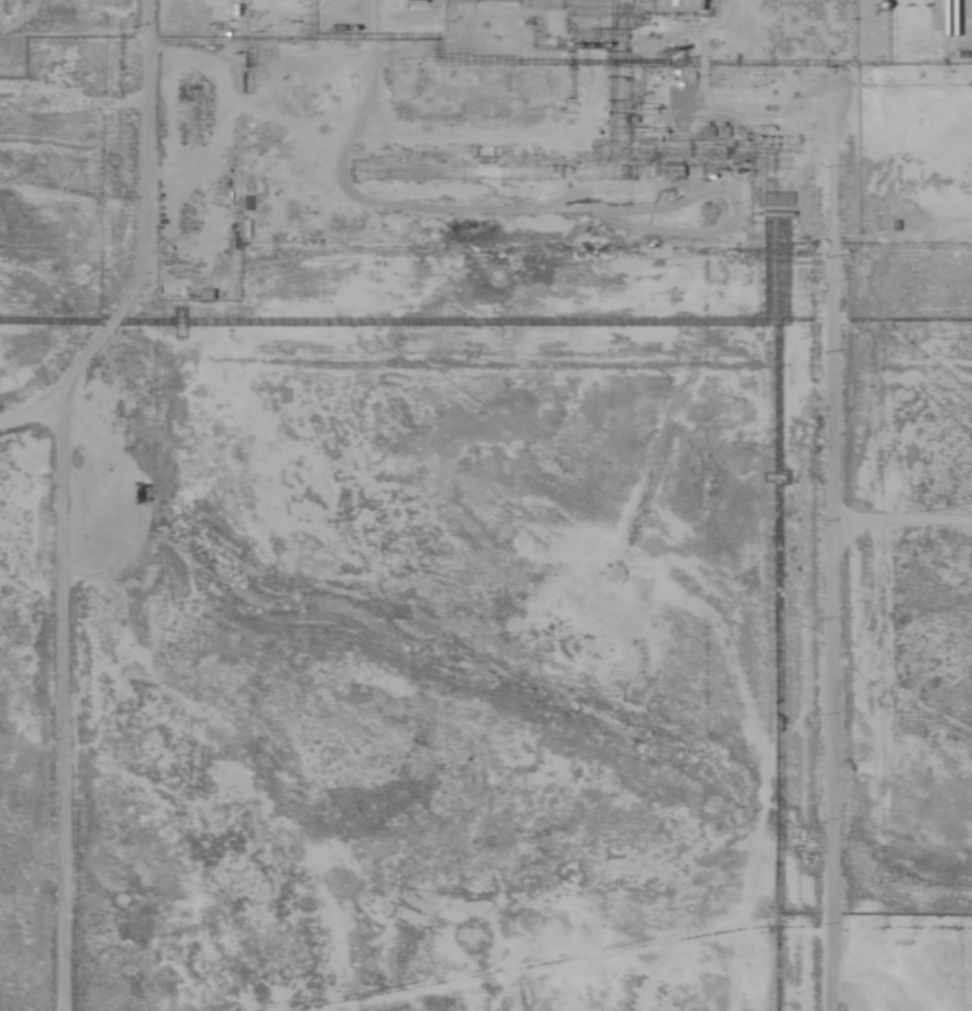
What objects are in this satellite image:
building: (665, 5)
road: (136, 268)
road: (830, 596)
road: (58, 719)

